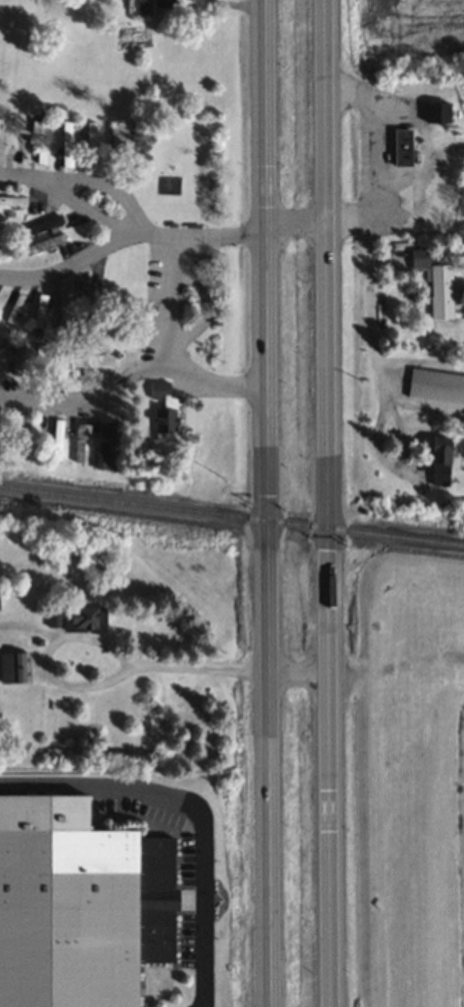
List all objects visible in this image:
building: (149, 6)
building: (437, 114)
building: (42, 141)
building: (117, 141)
building: (0, 143)
building: (67, 144)
building: (90, 145)
road: (114, 186)
road: (70, 195)
building: (12, 202)
building: (35, 229)
road: (128, 237)
building: (45, 245)
building: (435, 283)
building: (14, 309)
building: (39, 311)
building: (65, 311)
building: (90, 312)
building: (111, 315)
building: (18, 357)
building: (40, 361)
building: (61, 364)
building: (94, 364)
road: (132, 375)
building: (436, 386)
building: (163, 408)
building: (14, 434)
building: (57, 439)
building: (80, 441)
building: (102, 445)
building: (439, 460)
road: (268, 503)
road: (327, 503)
building: (76, 618)
building: (14, 666)
road: (192, 810)
building: (81, 915)

